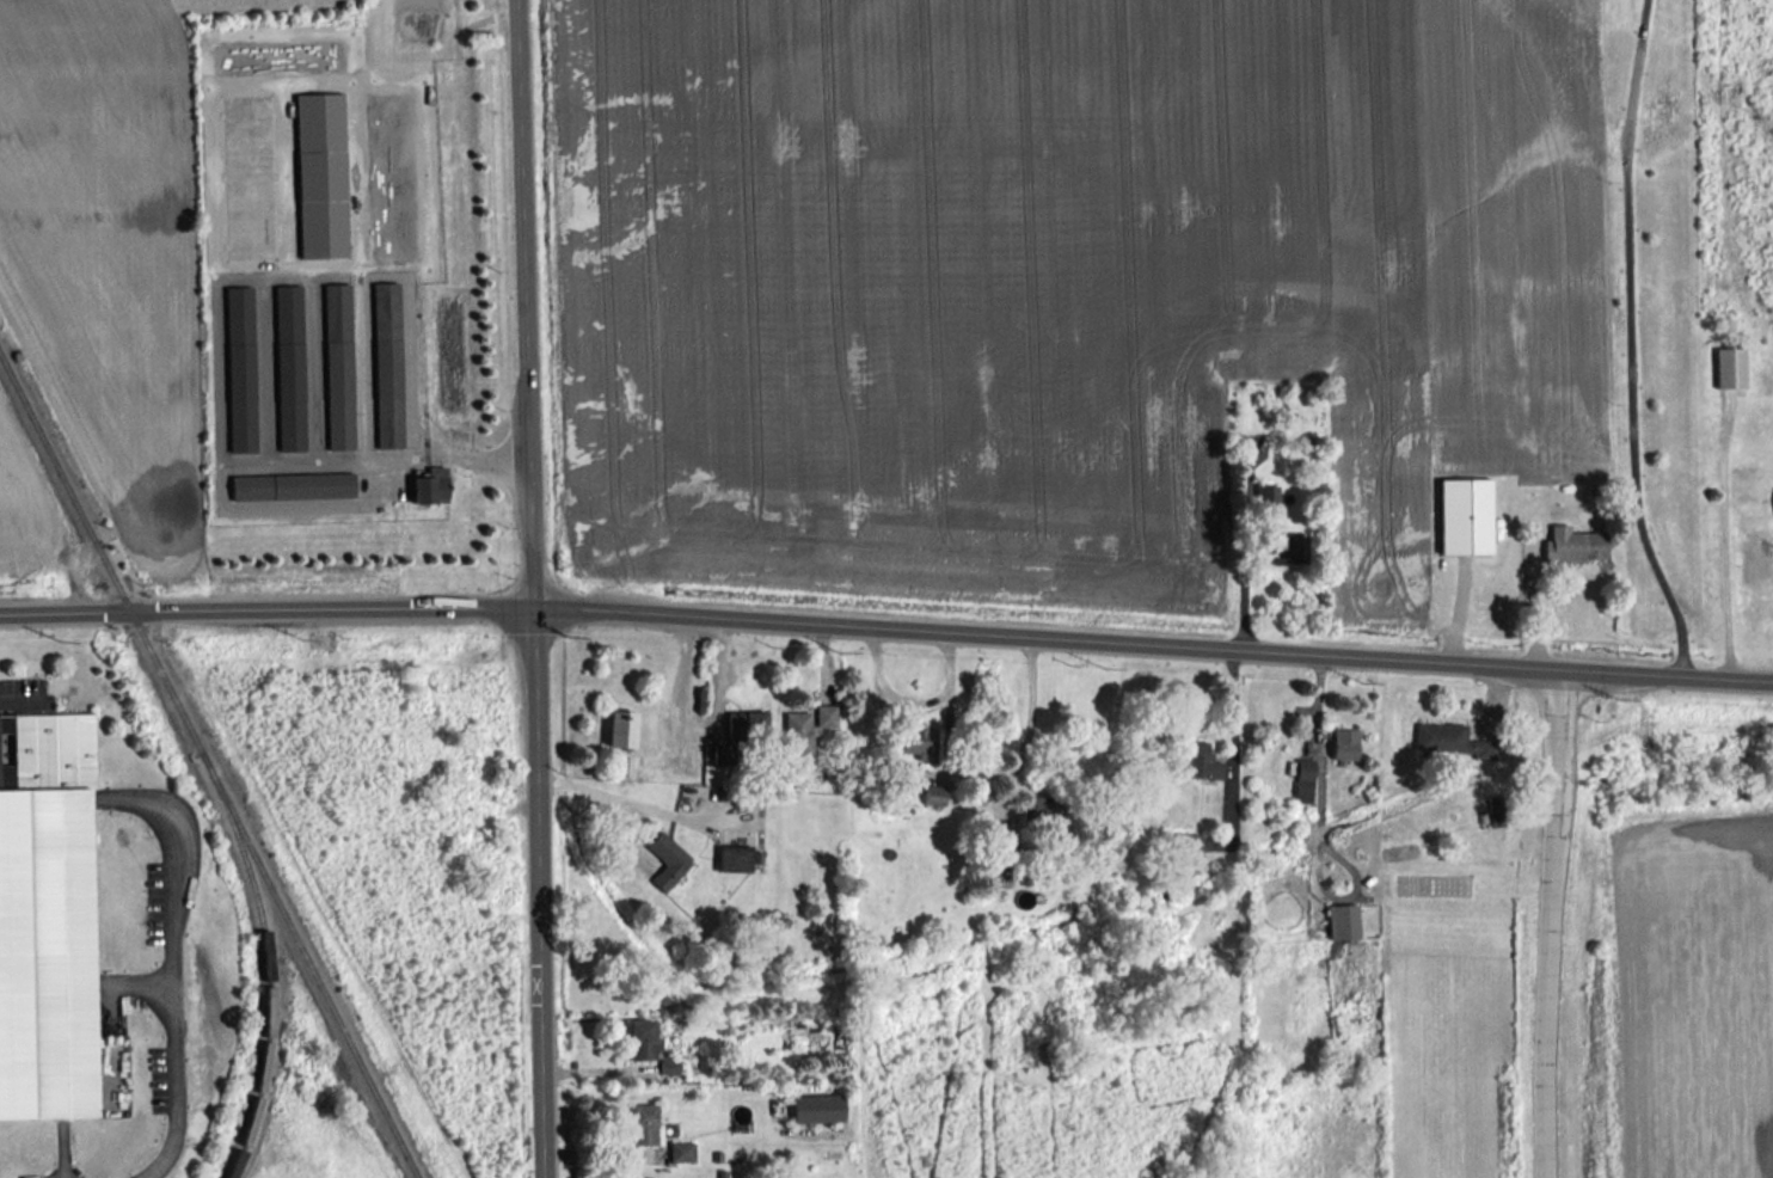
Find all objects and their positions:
building: (320, 174)
road: (1631, 338)
building: (386, 364)
building: (338, 366)
building: (289, 367)
building: (1729, 367)
building: (239, 368)
road: (461, 455)
road: (315, 466)
building: (290, 485)
building: (429, 485)
building: (1265, 497)
building: (1464, 515)
building: (1572, 544)
building: (1281, 547)
road: (1714, 548)
road: (1241, 557)
road: (532, 588)
road: (265, 607)
road: (1152, 643)
parking lot: (22, 693)
road: (1030, 705)
building: (824, 714)
building: (746, 723)
building: (619, 728)
building: (796, 731)
building: (1450, 740)
building: (914, 742)
building: (1343, 743)
road: (1234, 744)
building: (1201, 760)
railway: (210, 763)
building: (1302, 780)
building: (933, 793)
building: (1035, 808)
building: (1182, 841)
building: (732, 857)
building: (667, 859)
building: (45, 915)
building: (1341, 921)
road: (1548, 922)
road: (172, 971)
railway: (269, 983)
building: (642, 1039)
building: (667, 1066)
building: (816, 1108)
building: (642, 1123)
building: (681, 1151)

